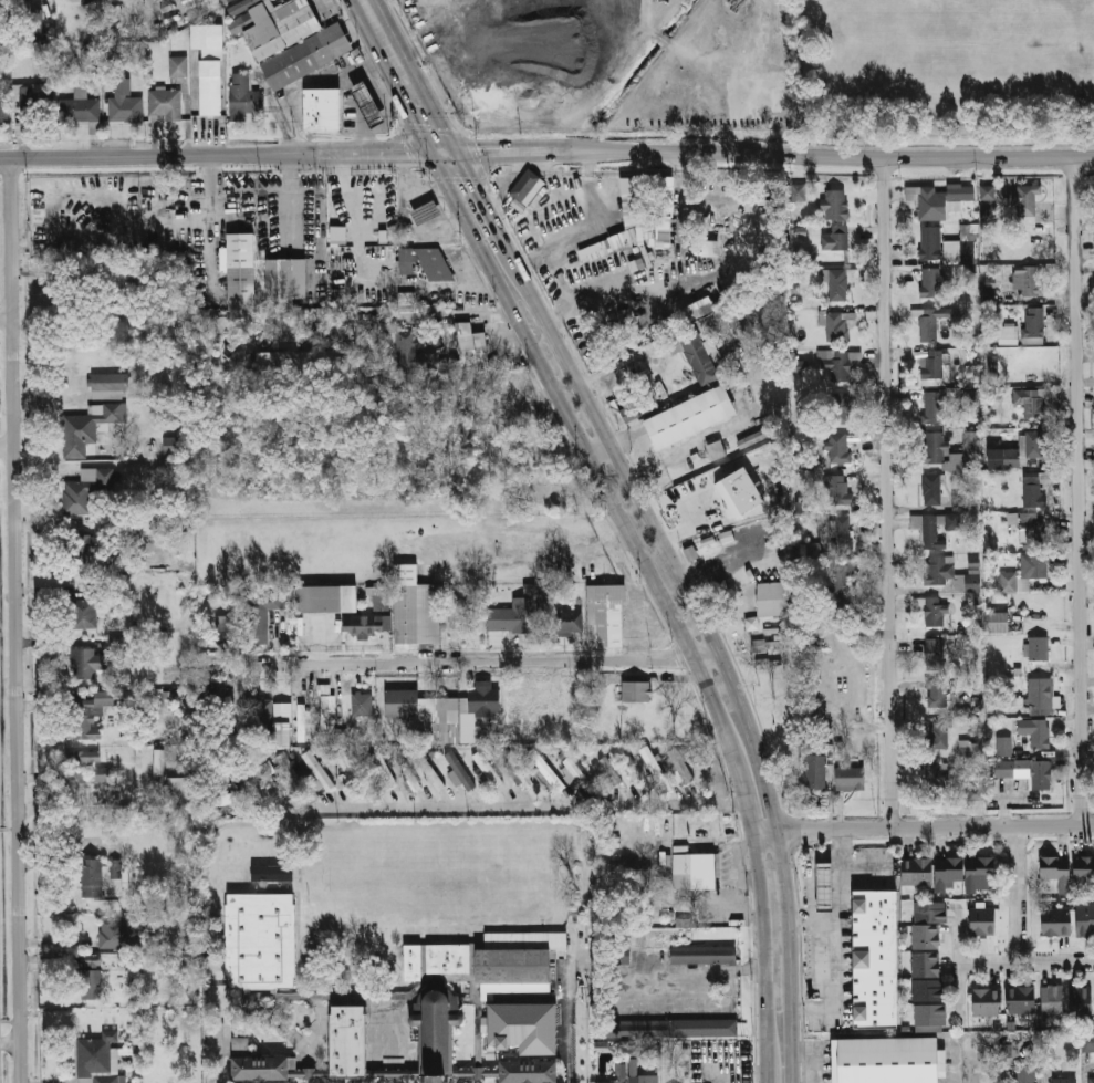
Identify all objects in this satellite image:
building: (88, 1)
building: (223, 1)
building: (197, 8)
building: (239, 23)
building: (35, 24)
road: (379, 31)
building: (295, 41)
park: (960, 51)
building: (90, 53)
building: (178, 66)
building: (209, 66)
park: (942, 67)
building: (32, 97)
building: (244, 97)
building: (4, 101)
building: (125, 103)
building: (165, 104)
building: (369, 105)
building: (79, 107)
road: (421, 107)
building: (323, 108)
road: (427, 131)
road: (507, 152)
road: (378, 154)
traffic signals: (447, 154)
road: (155, 155)
road: (831, 157)
road: (764, 177)
road: (509, 184)
building: (525, 186)
building: (798, 191)
building: (988, 192)
road: (288, 196)
road: (681, 197)
building: (940, 199)
building: (1024, 199)
road: (483, 204)
road: (209, 205)
building: (835, 205)
building: (663, 211)
building: (427, 212)
building: (986, 215)
road: (351, 216)
road: (596, 230)
building: (968, 231)
building: (532, 233)
building: (835, 241)
building: (930, 243)
building: (709, 248)
building: (595, 250)
building: (960, 252)
building: (435, 264)
building: (241, 271)
building: (286, 280)
building: (1028, 281)
building: (931, 283)
building: (838, 285)
road: (643, 287)
road: (565, 292)
building: (989, 294)
building: (696, 310)
road: (6, 317)
building: (836, 325)
building: (1034, 326)
building: (929, 329)
building: (1009, 335)
building: (472, 346)
building: (415, 353)
building: (698, 356)
building: (280, 361)
building: (837, 364)
building: (992, 366)
building: (801, 367)
building: (932, 367)
building: (110, 385)
building: (510, 393)
building: (971, 400)
building: (1032, 403)
building: (932, 407)
building: (841, 413)
building: (625, 415)
building: (691, 418)
building: (87, 428)
road: (624, 436)
road: (582, 444)
building: (935, 444)
building: (171, 445)
building: (1031, 445)
road: (7, 446)
road: (596, 446)
building: (716, 450)
building: (838, 450)
building: (1010, 459)
building: (86, 489)
building: (931, 489)
building: (838, 490)
building: (1034, 490)
road: (1083, 492)
road: (890, 494)
building: (561, 499)
building: (1011, 518)
building: (937, 529)
building: (1032, 532)
building: (842, 534)
building: (84, 545)
building: (813, 551)
building: (949, 574)
building: (1025, 574)
building: (840, 583)
building: (327, 598)
building: (774, 598)
building: (382, 600)
building: (88, 607)
building: (416, 607)
building: (262, 612)
building: (936, 613)
building: (606, 614)
building: (518, 615)
road: (15, 619)
building: (566, 622)
building: (1000, 622)
building: (751, 623)
building: (366, 625)
building: (227, 629)
building: (758, 646)
building: (1040, 648)
road: (720, 650)
building: (935, 654)
road: (468, 660)
building: (86, 663)
building: (636, 690)
building: (937, 694)
building: (1040, 695)
building: (481, 702)
building: (363, 705)
building: (327, 711)
building: (426, 712)
building: (87, 715)
building: (264, 715)
building: (300, 721)
building: (1035, 731)
building: (282, 733)
building: (939, 733)
building: (340, 736)
building: (1003, 746)
building: (968, 748)
building: (158, 762)
building: (81, 764)
building: (681, 764)
building: (317, 768)
building: (379, 768)
building: (267, 769)
building: (488, 769)
building: (518, 769)
building: (657, 769)
building: (428, 770)
building: (460, 770)
building: (545, 770)
building: (611, 770)
building: (350, 771)
building: (816, 771)
building: (1028, 771)
building: (579, 772)
building: (292, 773)
building: (409, 775)
building: (104, 778)
building: (542, 778)
building: (851, 778)
building: (937, 778)
road: (743, 780)
building: (181, 792)
building: (976, 792)
building: (229, 799)
road: (491, 805)
road: (923, 827)
building: (1084, 867)
building: (115, 868)
building: (696, 871)
building: (918, 871)
building: (965, 871)
building: (1057, 871)
building: (271, 872)
park: (440, 876)
building: (93, 877)
road: (841, 879)
building: (826, 885)
gas station: (826, 885)
road: (1014, 894)
building: (1085, 919)
building: (983, 920)
building: (1057, 921)
building: (149, 923)
building: (684, 923)
building: (928, 924)
building: (118, 933)
building: (261, 940)
road: (764, 951)
building: (705, 955)
building: (519, 956)
building: (623, 957)
building: (449, 958)
building: (877, 958)
road: (1024, 961)
building: (414, 962)
road: (956, 964)
road: (830, 969)
building: (91, 977)
road: (698, 981)
building: (928, 989)
building: (1022, 1000)
building: (1053, 1001)
building: (988, 1002)
building: (1082, 1003)
road: (570, 1004)
building: (455, 1009)
building: (524, 1028)
building: (675, 1028)
building: (437, 1037)
building: (1088, 1041)
road: (11, 1042)
building: (348, 1042)
building: (239, 1046)
building: (1006, 1050)
building: (98, 1059)
road: (811, 1060)
building: (886, 1060)
building: (633, 1066)
building: (260, 1069)
road: (951, 1071)
building: (529, 1072)
building: (619, 1073)
building: (638, 1079)
road: (768, 1079)
building: (1027, 1079)
building: (1066, 1080)
building: (1092, 1080)

